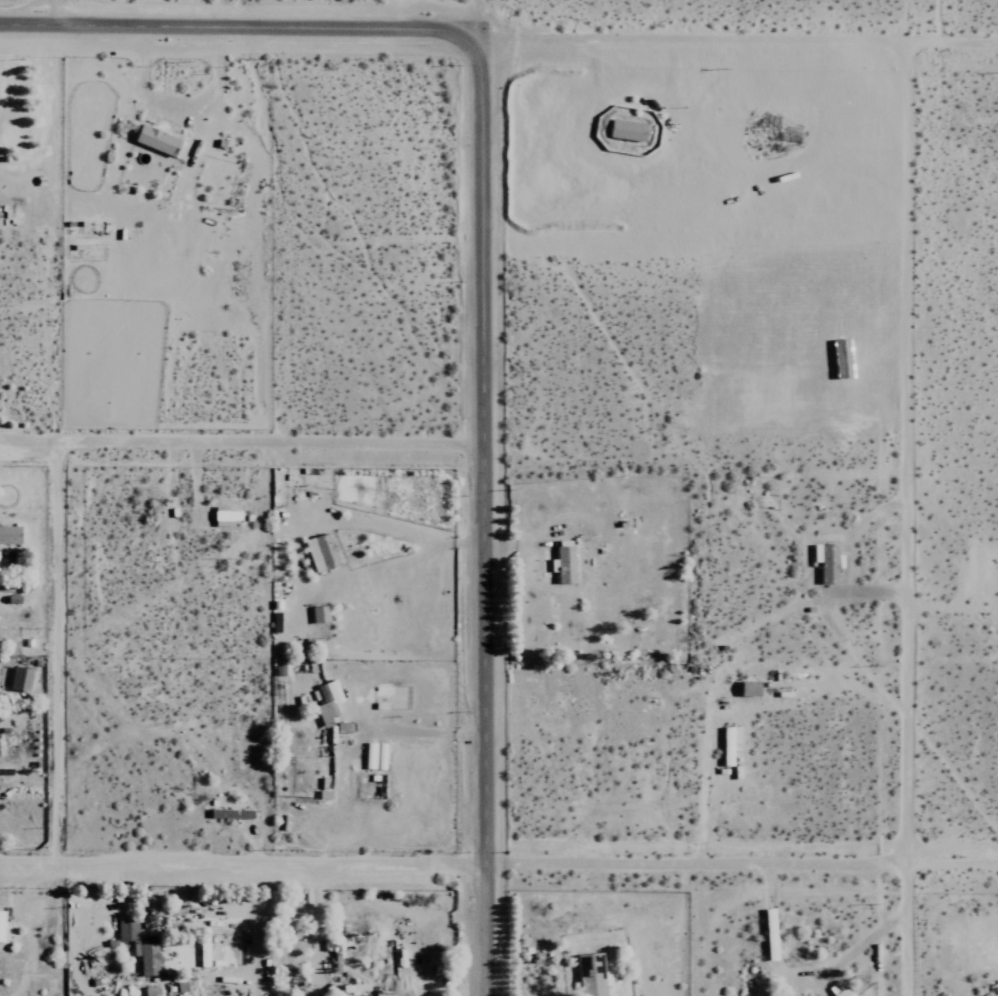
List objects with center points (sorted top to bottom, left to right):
road: (60, 13)
road: (477, 18)
road: (238, 30)
road: (737, 36)
road: (178, 106)
road: (635, 107)
road: (240, 449)
road: (481, 452)
road: (898, 516)
road: (851, 554)
road: (68, 659)
road: (719, 682)
road: (426, 732)
road: (241, 872)
road: (739, 875)
road: (483, 932)
road: (521, 966)

